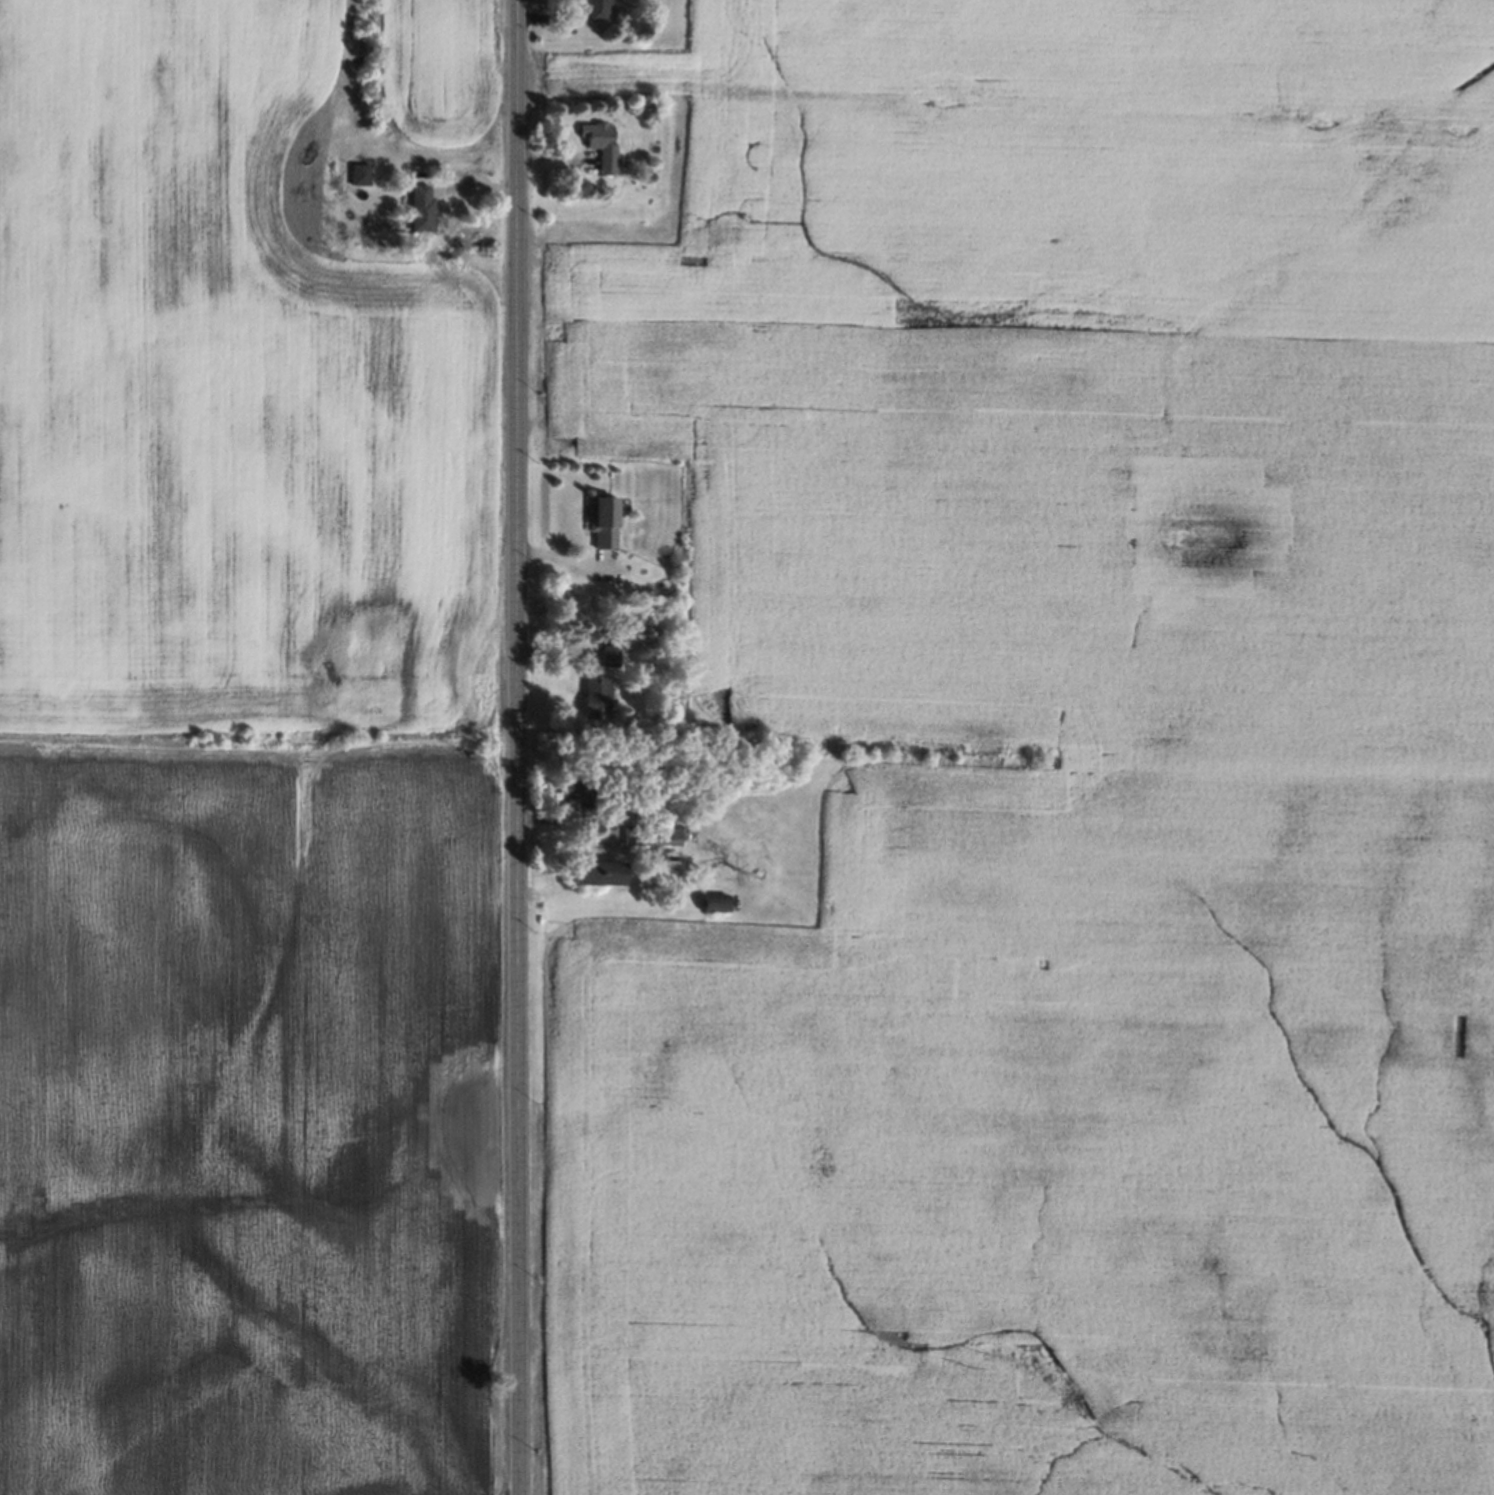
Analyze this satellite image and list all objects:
building: (597, 9)
building: (654, 27)
crop: (440, 67)
building: (600, 141)
building: (360, 177)
building: (646, 177)
building: (422, 213)
crop: (215, 391)
building: (600, 520)
building: (657, 631)
building: (611, 655)
building: (596, 696)
road: (518, 747)
building: (572, 793)
building: (615, 796)
building: (652, 835)
building: (597, 872)
building: (716, 901)
crop: (229, 1123)

